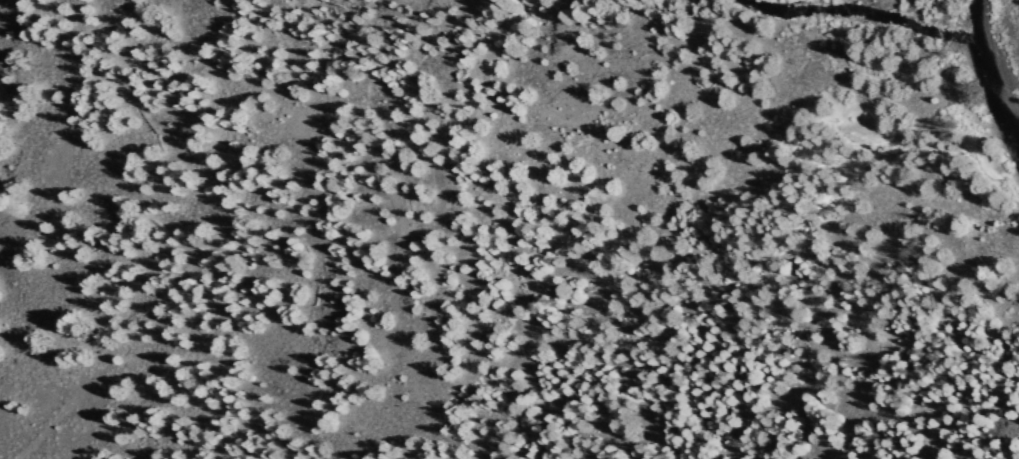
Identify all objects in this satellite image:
river: (991, 73)

